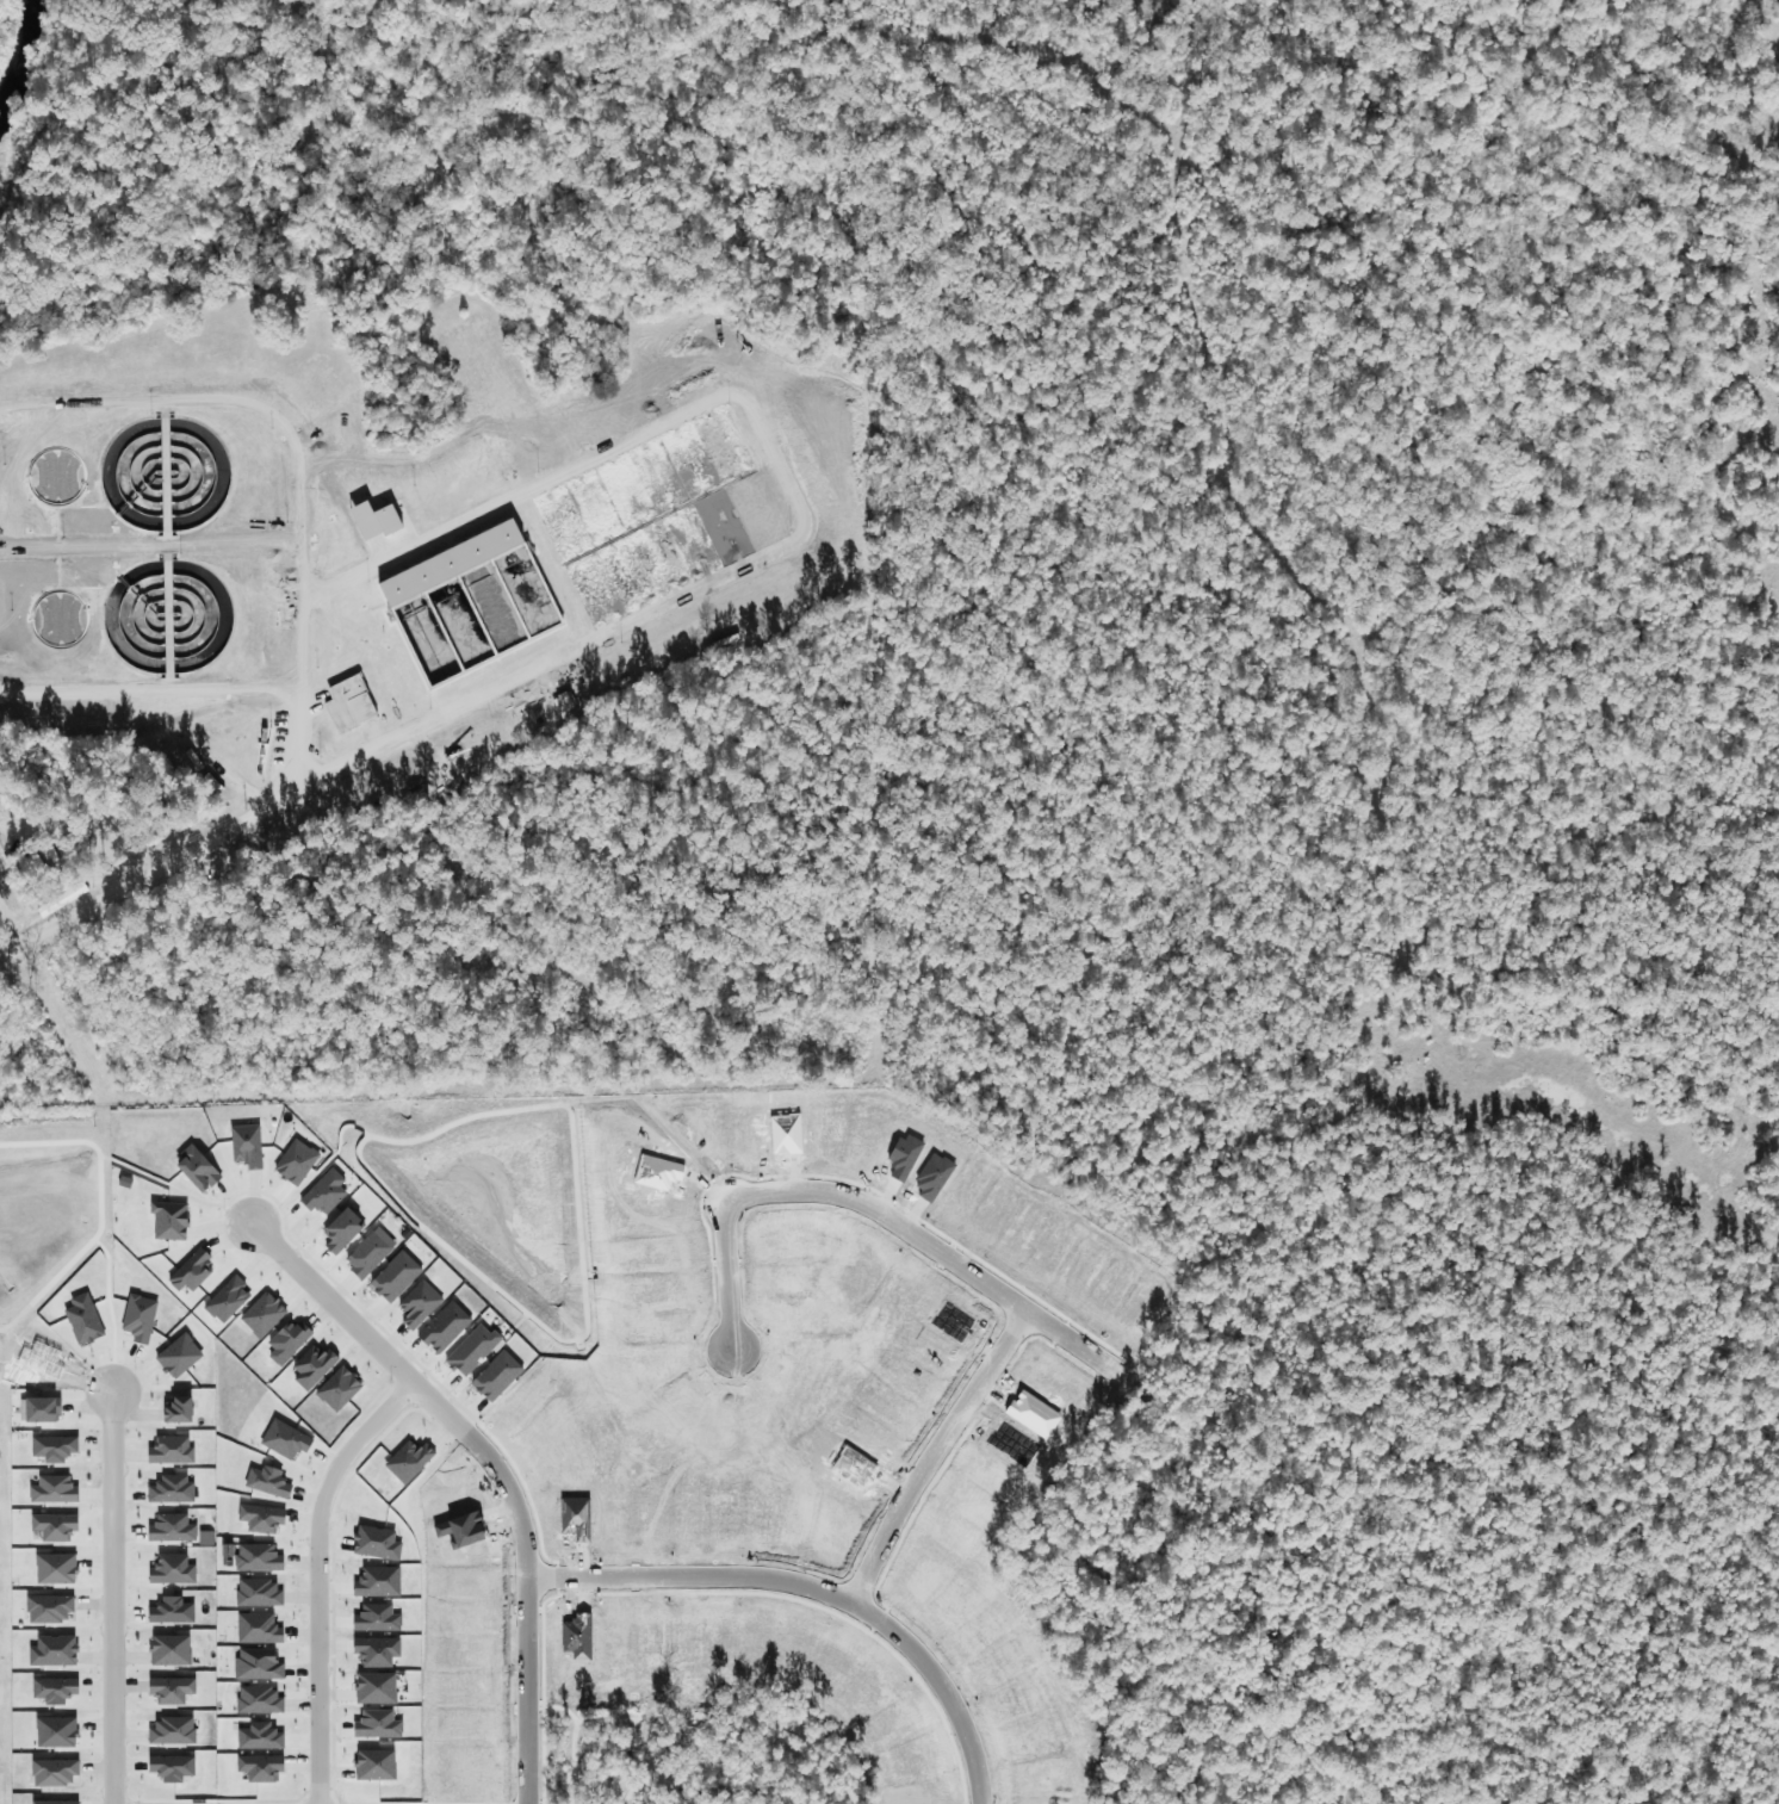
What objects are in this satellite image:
road: (793, 497)
road: (149, 550)
road: (299, 559)
building: (556, 599)
building: (351, 705)
road: (297, 736)
road: (147, 867)
road: (340, 1463)
road: (106, 1597)

